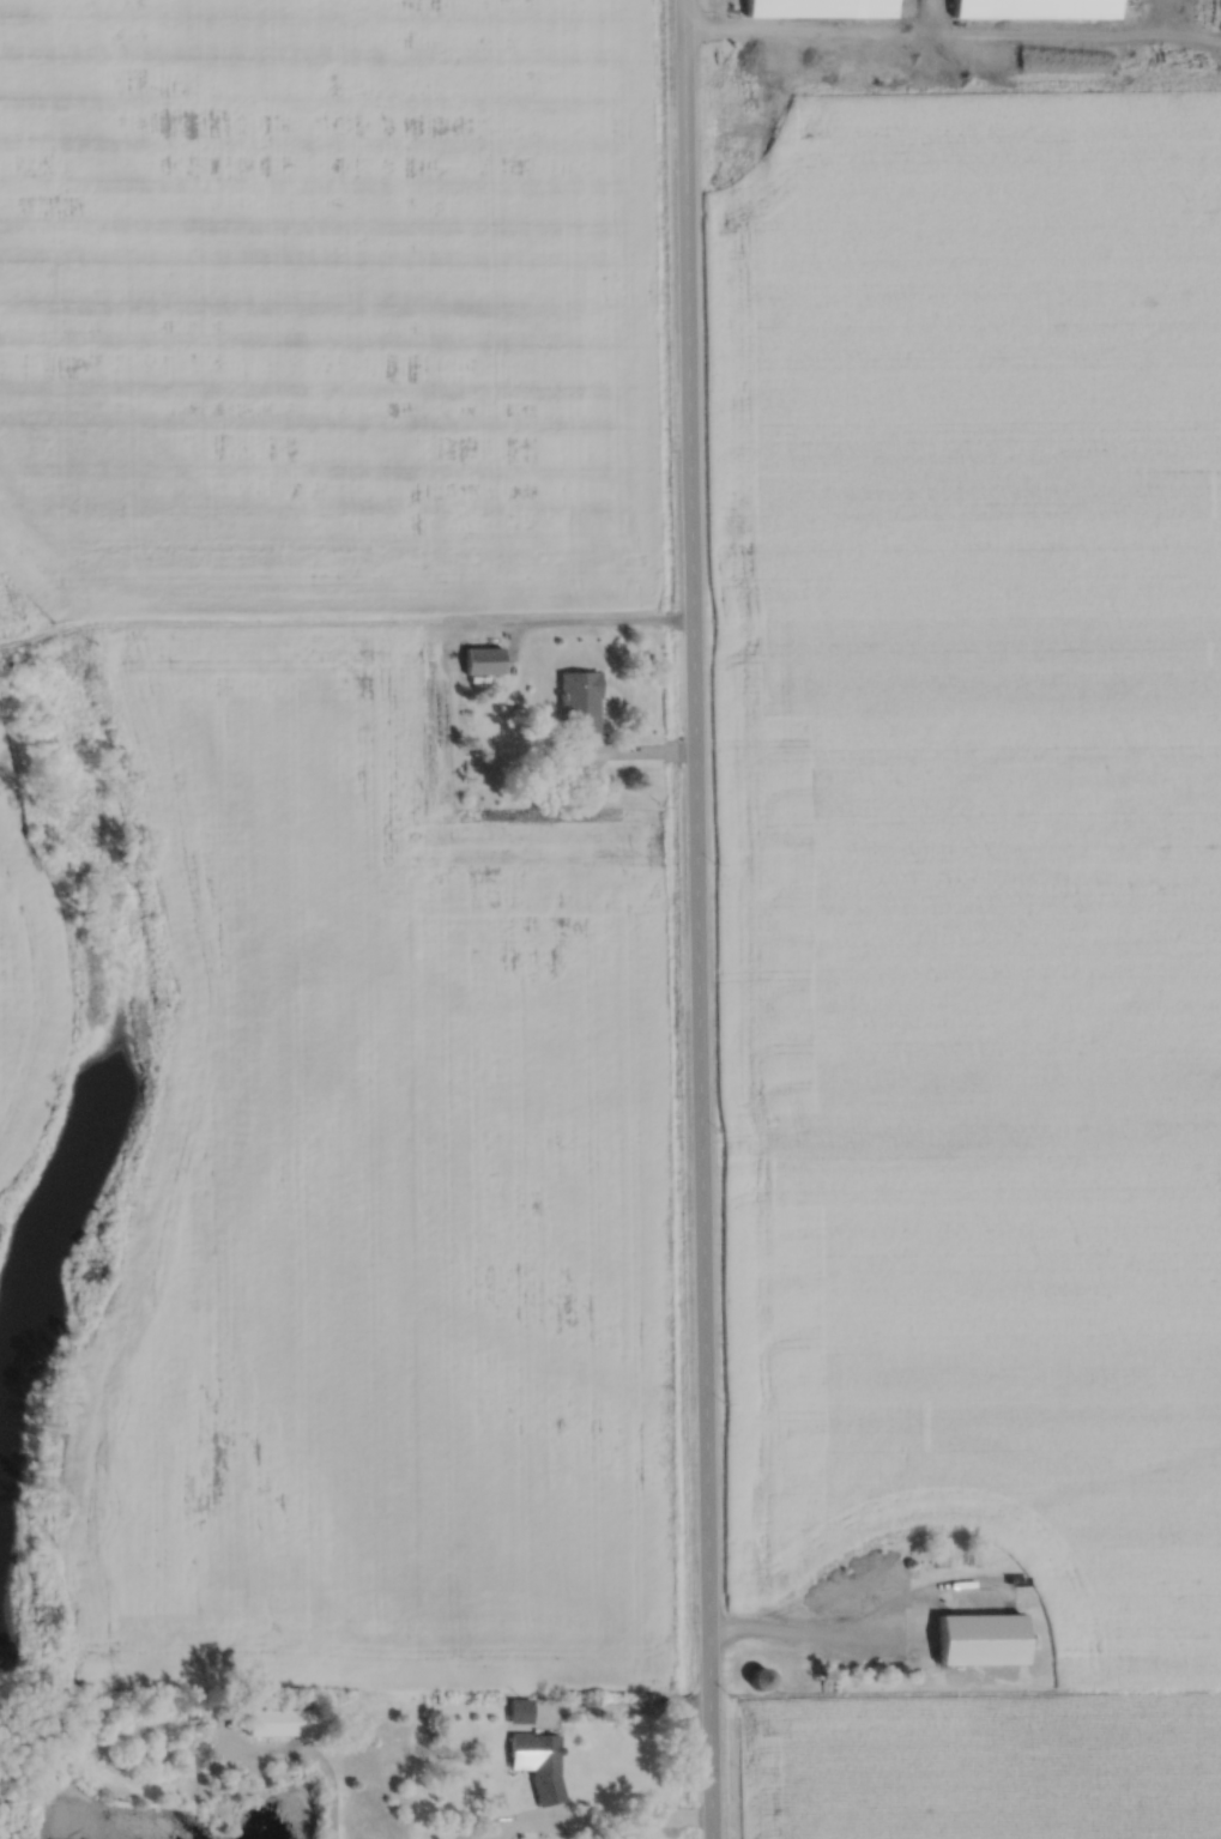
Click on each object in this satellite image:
building: (820, 7)
building: (1034, 7)
road: (814, 30)
crop: (327, 303)
crop: (960, 335)
road: (572, 619)
road: (223, 621)
building: (484, 659)
building: (580, 702)
road: (635, 750)
crop: (966, 884)
road: (697, 919)
crop: (30, 975)
crop: (375, 1200)
crop: (983, 1385)
road: (871, 1633)
building: (977, 1638)
building: (761, 1677)
road: (624, 1708)
building: (519, 1710)
building: (285, 1723)
building: (539, 1764)
crop: (980, 1765)
road: (200, 1777)
road: (587, 1822)

